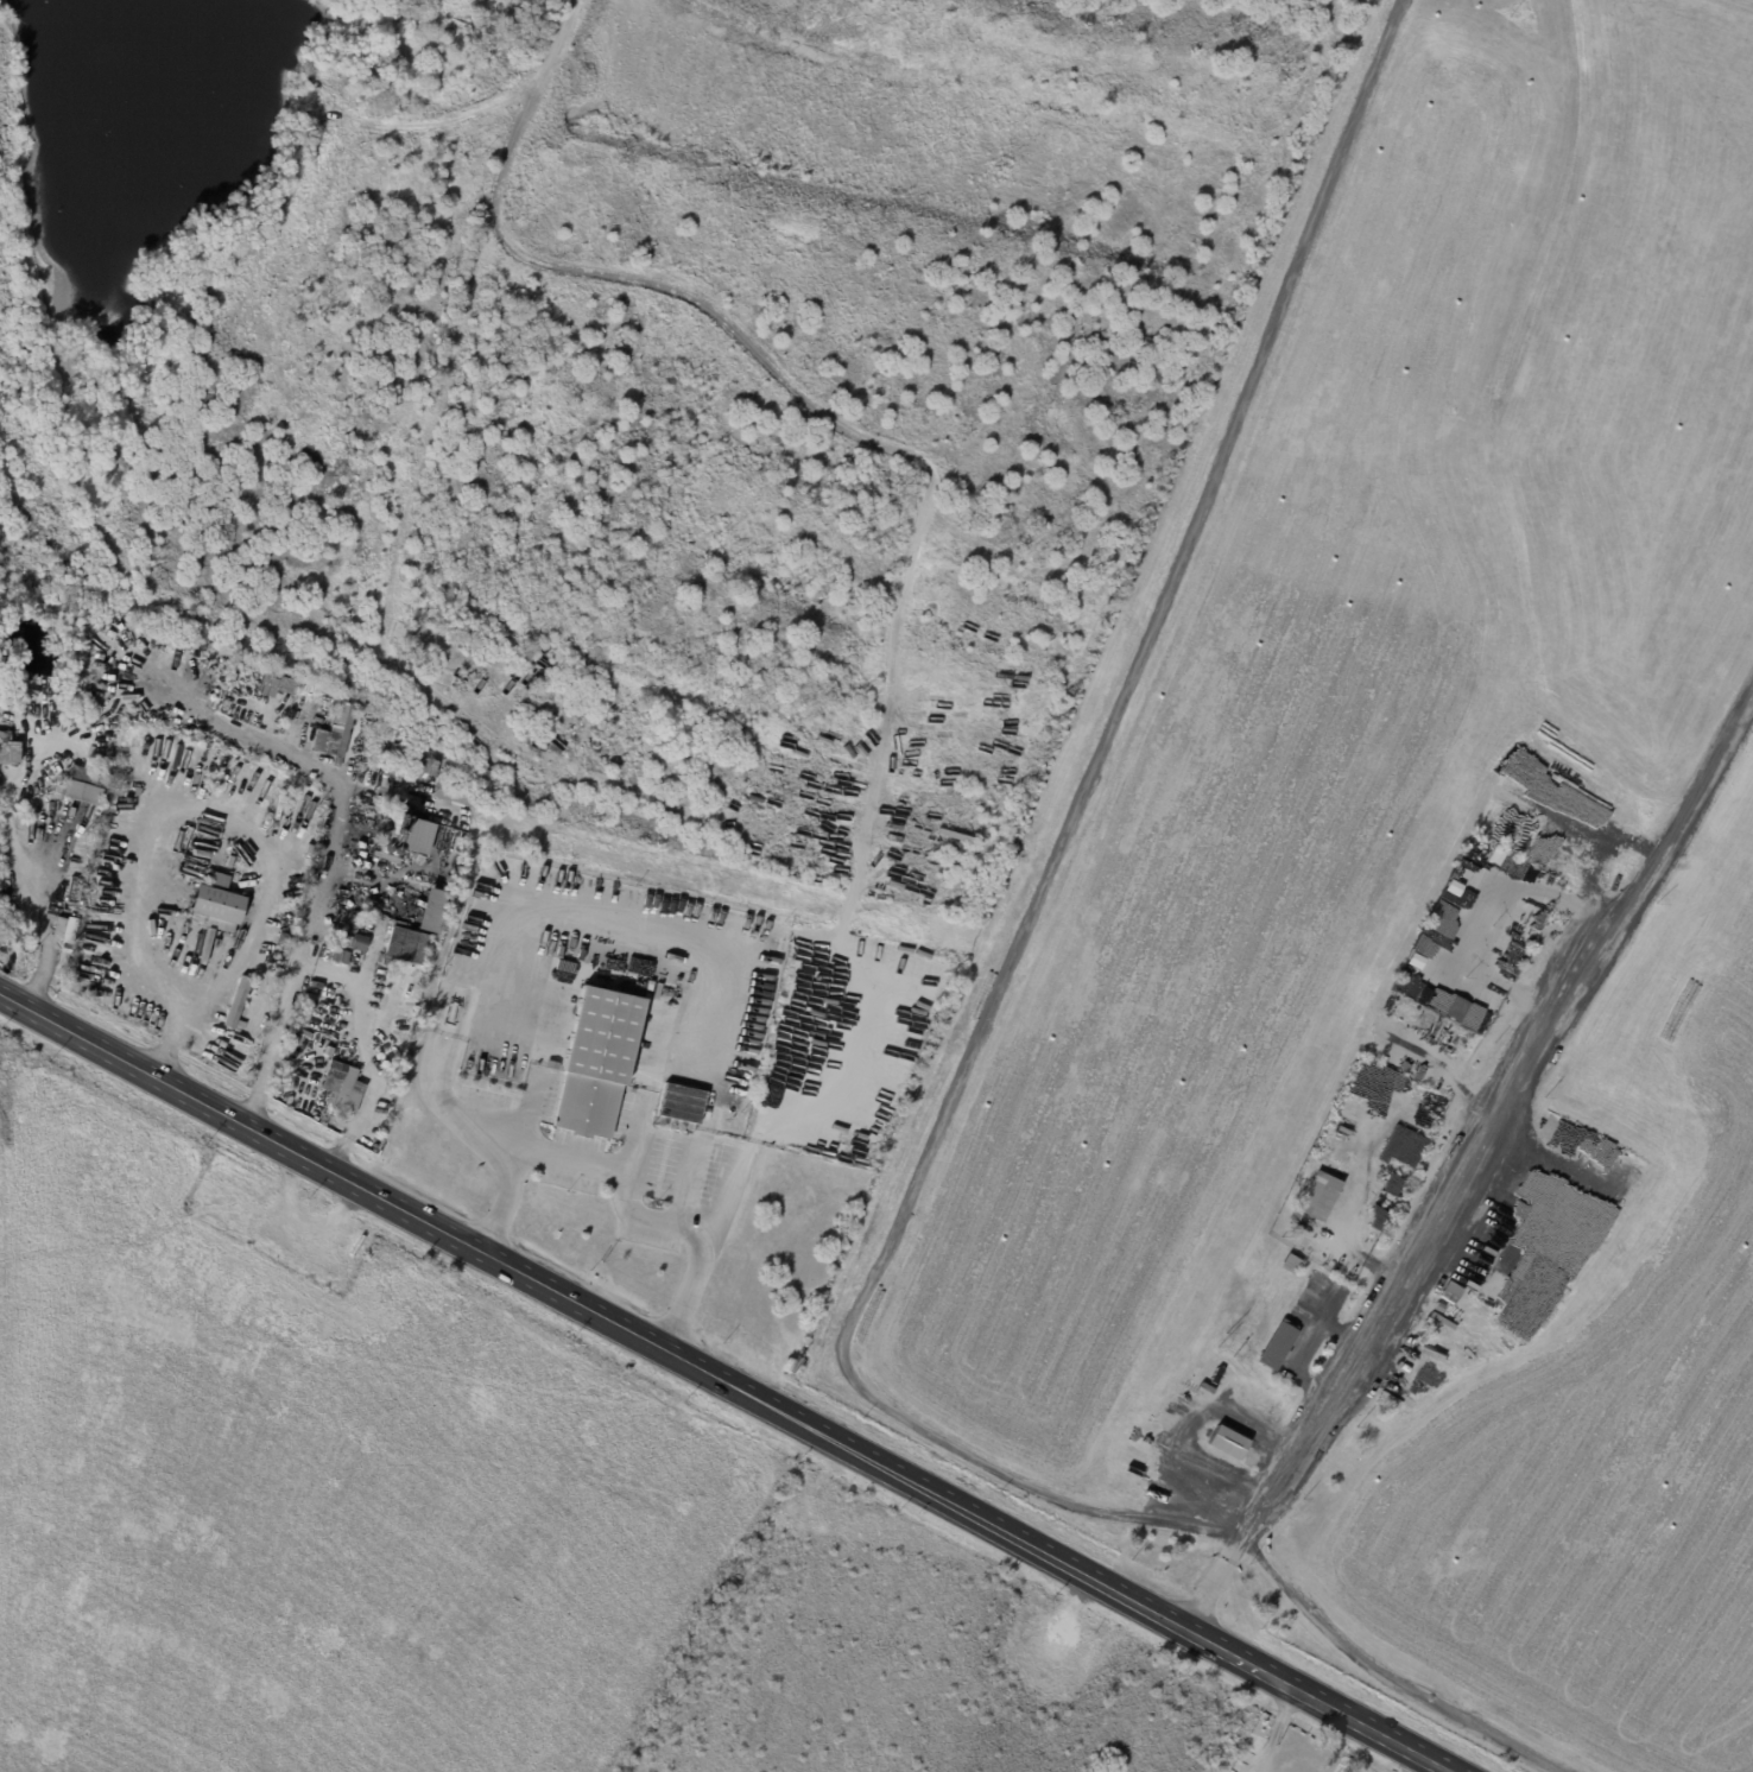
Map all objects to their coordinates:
building: (286, 685)
road: (207, 708)
building: (336, 732)
building: (423, 765)
road: (1077, 784)
building: (247, 786)
building: (82, 792)
building: (455, 793)
road: (175, 802)
road: (1688, 803)
building: (410, 835)
building: (449, 881)
building: (72, 890)
building: (217, 905)
building: (432, 911)
landfill: (1412, 930)
building: (353, 943)
building: (403, 947)
building: (340, 956)
building: (279, 974)
building: (654, 992)
building: (238, 1007)
building: (1460, 1010)
building: (552, 1062)
building: (599, 1063)
building: (342, 1088)
building: (679, 1110)
road: (544, 1150)
road: (1551, 1173)
building: (1321, 1197)
road: (507, 1198)
building: (1305, 1242)
building: (359, 1245)
road: (707, 1249)
building: (1292, 1265)
building: (344, 1268)
road: (1396, 1270)
building: (1455, 1291)
building: (1280, 1347)
building: (1217, 1377)
road: (724, 1382)
building: (1208, 1388)
building: (1329, 1398)
building: (1228, 1443)
road: (1299, 1600)
road: (1277, 1729)

